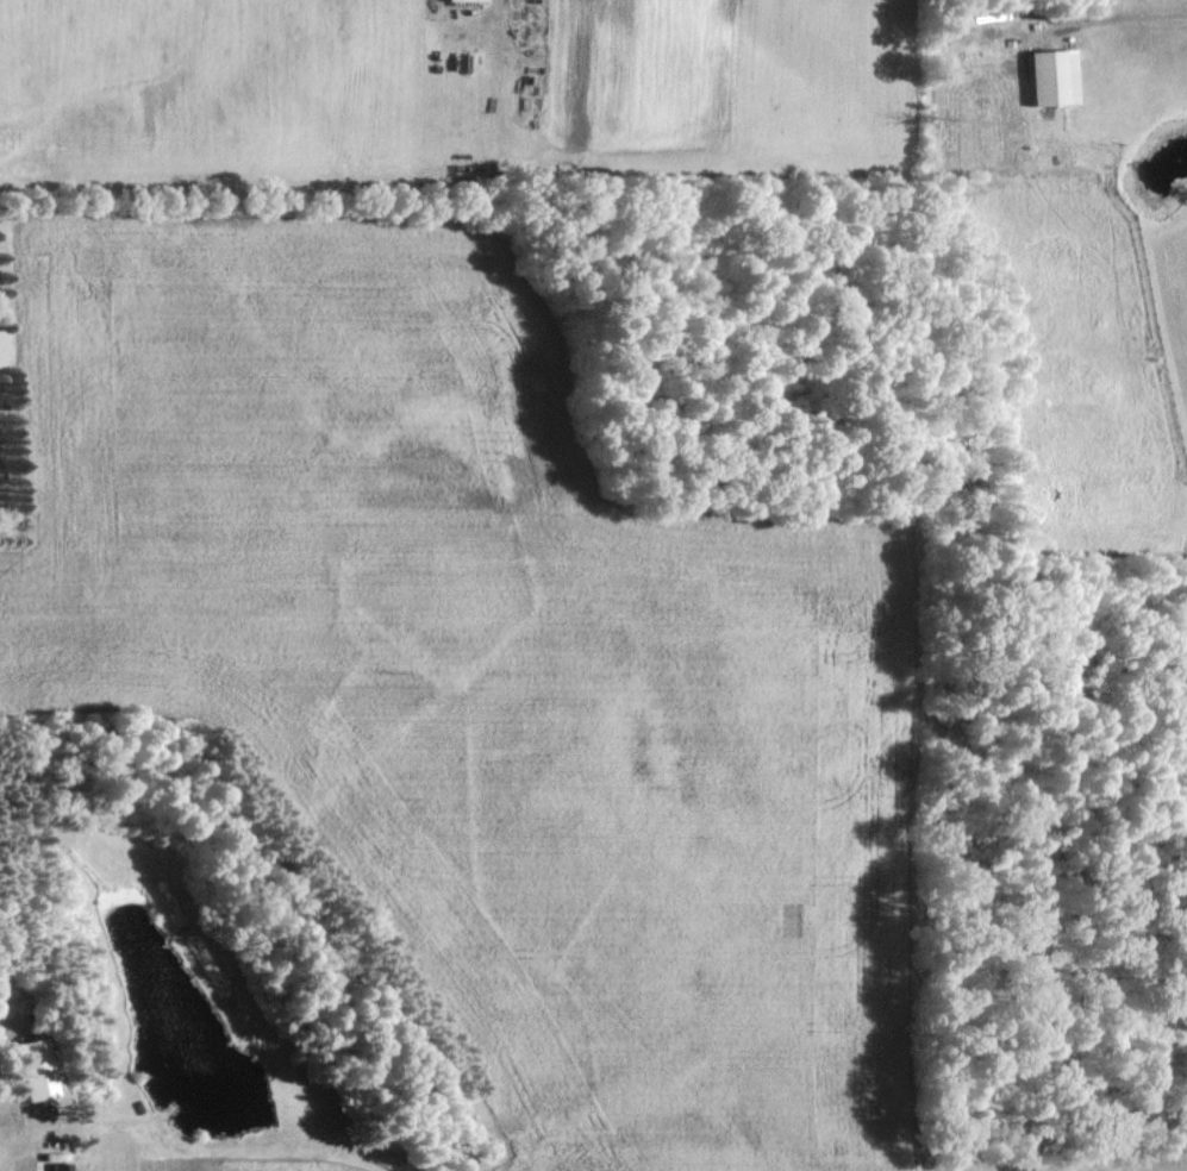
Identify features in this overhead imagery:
building: (1038, 76)
building: (21, 1069)

